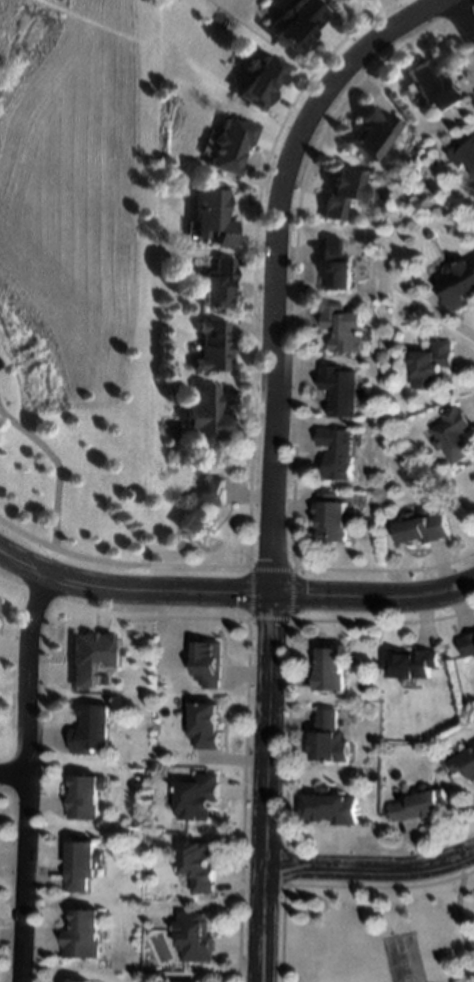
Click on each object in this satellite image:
road: (465, 14)
building: (298, 25)
building: (259, 81)
building: (434, 84)
building: (374, 130)
building: (231, 144)
building: (463, 153)
building: (473, 173)
building: (344, 191)
building: (213, 215)
building: (430, 234)
building: (336, 263)
park: (82, 275)
building: (217, 282)
building: (458, 283)
building: (342, 327)
building: (213, 346)
building: (431, 364)
building: (338, 388)
building: (206, 413)
building: (454, 435)
building: (336, 451)
road: (276, 458)
road: (58, 467)
building: (204, 505)
building: (334, 516)
building: (421, 527)
road: (71, 555)
road: (233, 596)
building: (466, 643)
building: (95, 653)
building: (208, 663)
building: (412, 663)
building: (327, 669)
building: (205, 726)
building: (91, 728)
building: (331, 746)
building: (464, 763)
road: (11, 779)
road: (22, 779)
building: (86, 796)
building: (199, 798)
building: (418, 805)
building: (331, 806)
building: (84, 862)
building: (200, 867)
road: (370, 869)
building: (85, 935)
park: (379, 935)
building: (196, 937)
building: (82, 980)
building: (457, 980)

